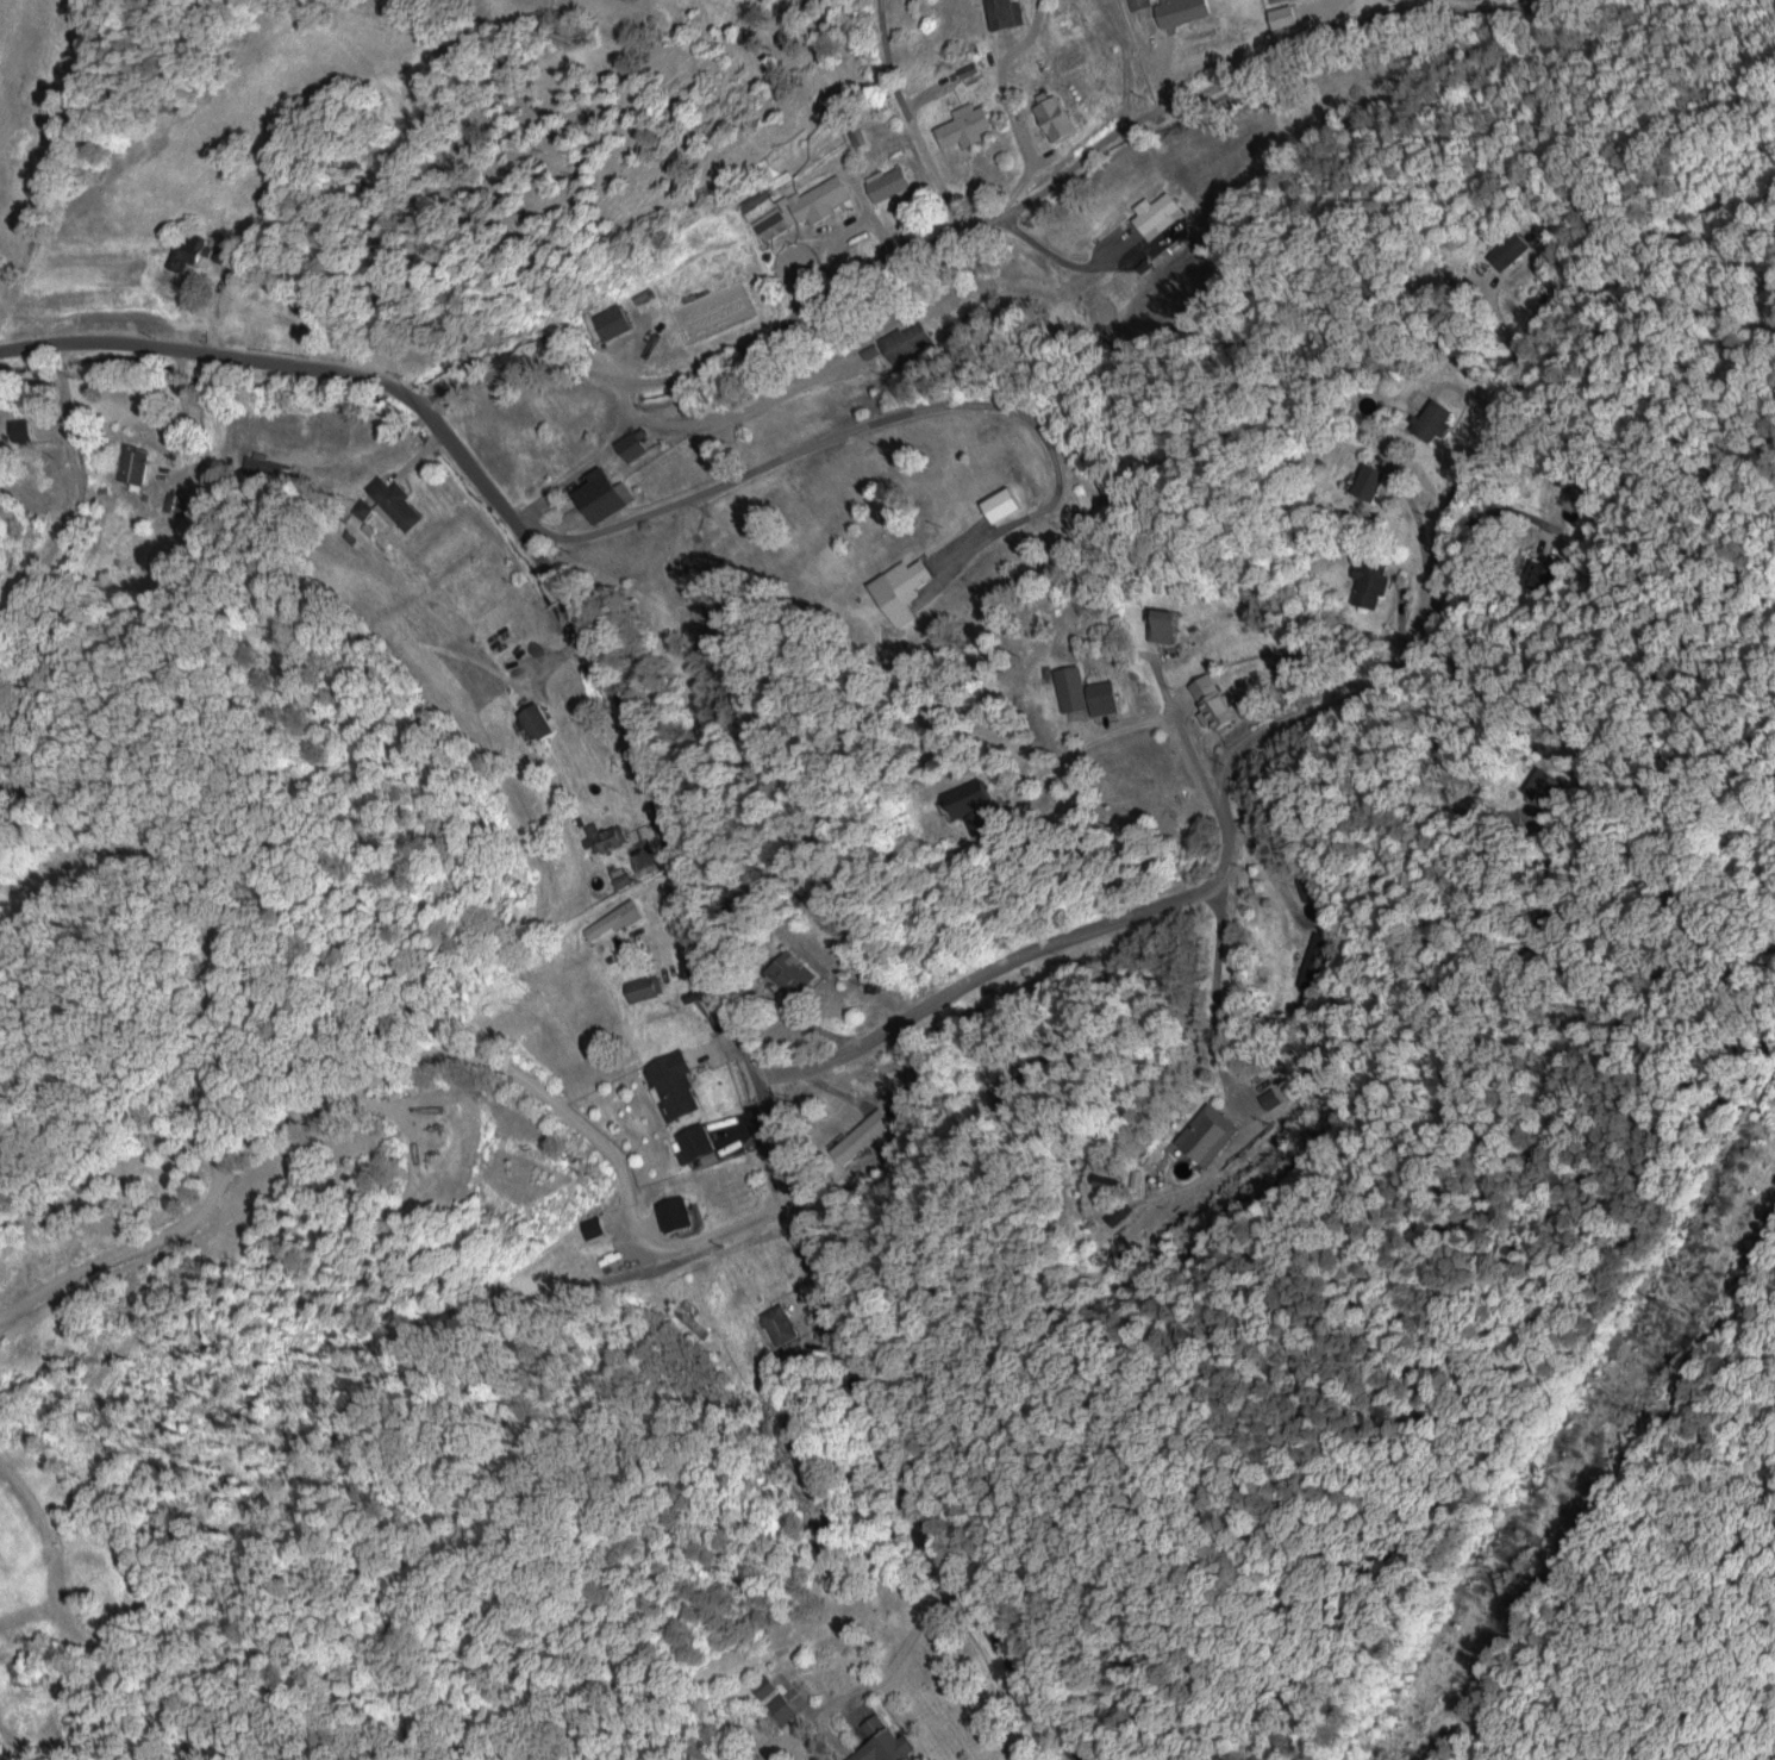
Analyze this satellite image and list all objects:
building: (1180, 10)
road: (1067, 82)
building: (1054, 118)
road: (912, 120)
building: (963, 125)
building: (886, 182)
building: (818, 199)
road: (1021, 204)
building: (1155, 214)
building: (768, 219)
building: (185, 250)
building: (1507, 250)
building: (221, 252)
building: (611, 320)
building: (1431, 419)
building: (18, 430)
building: (629, 445)
building: (132, 466)
building: (261, 468)
building: (1369, 481)
building: (601, 495)
building: (173, 501)
building: (387, 504)
road: (1501, 548)
building: (1539, 575)
building: (1368, 582)
building: (899, 588)
building: (1160, 624)
road: (1261, 662)
building: (1070, 687)
building: (1101, 697)
building: (1213, 701)
building: (536, 722)
road: (1429, 748)
building: (1542, 786)
building: (969, 797)
building: (977, 820)
building: (605, 836)
road: (679, 878)
building: (614, 919)
building: (1311, 959)
building: (792, 972)
building: (643, 987)
building: (673, 1082)
road: (394, 1097)
building: (1268, 1097)
building: (1206, 1134)
building: (860, 1135)
building: (694, 1141)
road: (1211, 1148)
building: (1119, 1212)
building: (676, 1213)
power tower: (1673, 1303)
building: (777, 1323)
building: (762, 1686)
building: (779, 1709)
road: (896, 1740)
building: (882, 1742)

